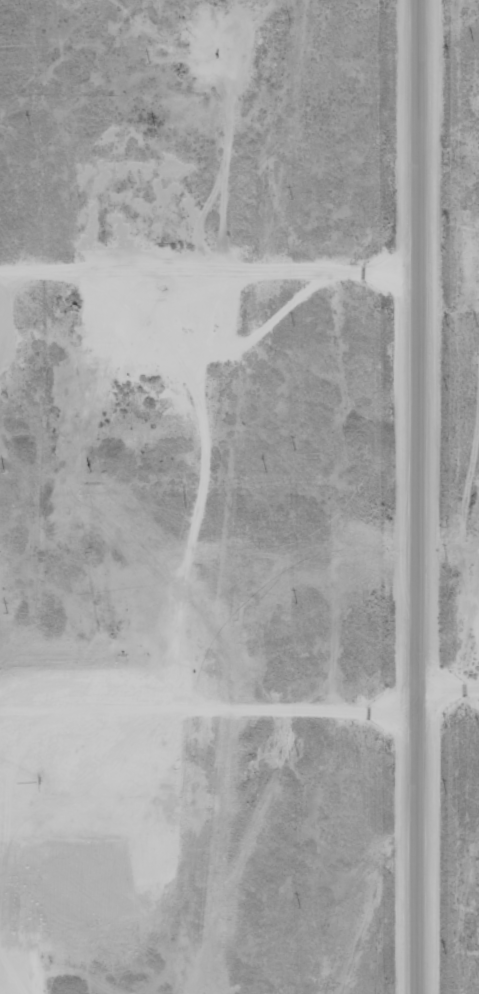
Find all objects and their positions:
road: (211, 259)
road: (449, 275)
road: (419, 497)
road: (245, 711)
road: (16, 957)

